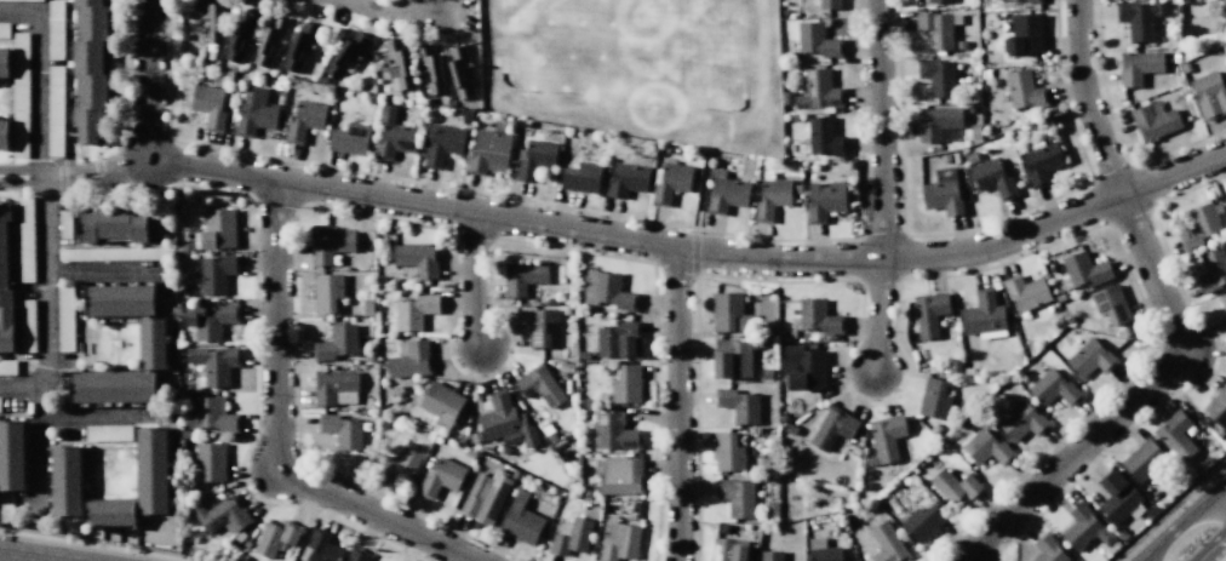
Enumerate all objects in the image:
building: (1004, 0)
building: (936, 1)
building: (1030, 1)
building: (86, 2)
building: (829, 4)
road: (393, 12)
building: (1139, 18)
building: (212, 19)
building: (91, 21)
building: (939, 28)
building: (1024, 34)
building: (240, 36)
building: (269, 40)
building: (817, 40)
building: (299, 46)
building: (86, 55)
building: (345, 55)
building: (5, 61)
building: (399, 62)
building: (1138, 65)
building: (429, 68)
building: (460, 71)
building: (936, 76)
road: (147, 79)
building: (91, 90)
building: (818, 90)
building: (1024, 90)
building: (1209, 95)
building: (208, 107)
building: (254, 113)
building: (304, 120)
building: (1153, 120)
building: (936, 121)
building: (87, 125)
road: (882, 128)
building: (5, 134)
building: (391, 136)
building: (824, 137)
building: (349, 138)
building: (440, 144)
building: (487, 151)
building: (533, 159)
building: (1042, 164)
road: (75, 170)
building: (580, 177)
building: (992, 178)
building: (626, 179)
building: (670, 182)
road: (78, 184)
building: (726, 191)
building: (943, 193)
building: (770, 199)
building: (824, 200)
building: (5, 212)
building: (111, 221)
building: (1202, 224)
building: (155, 225)
building: (85, 227)
building: (137, 227)
building: (217, 228)
building: (328, 242)
road: (44, 247)
road: (693, 248)
building: (2, 256)
building: (417, 258)
building: (1213, 269)
road: (102, 271)
building: (1084, 271)
building: (213, 273)
building: (522, 276)
road: (474, 277)
building: (326, 292)
building: (607, 292)
building: (1026, 292)
building: (5, 297)
building: (119, 299)
building: (1222, 300)
building: (1111, 304)
building: (414, 311)
building: (729, 313)
building: (929, 313)
building: (982, 314)
road: (878, 315)
building: (819, 317)
building: (210, 320)
road: (1174, 324)
building: (542, 326)
building: (6, 328)
building: (619, 339)
building: (153, 343)
building: (336, 343)
building: (732, 357)
building: (1090, 357)
building: (409, 360)
building: (213, 363)
building: (955, 366)
building: (804, 367)
building: (767, 373)
building: (625, 384)
building: (332, 385)
building: (539, 385)
road: (18, 387)
building: (110, 387)
building: (1052, 388)
building: (935, 400)
building: (441, 403)
road: (677, 403)
building: (739, 405)
building: (1216, 407)
road: (93, 416)
building: (211, 416)
building: (505, 419)
building: (1022, 422)
building: (832, 428)
building: (342, 431)
building: (614, 431)
building: (107, 433)
road: (279, 434)
building: (1176, 435)
building: (887, 436)
building: (986, 448)
building: (728, 452)
building: (12, 454)
building: (1141, 460)
building: (211, 462)
building: (401, 462)
building: (153, 471)
building: (619, 476)
building: (441, 477)
building: (67, 479)
building: (953, 485)
building: (486, 496)
building: (735, 497)
building: (1117, 497)
building: (772, 509)
building: (110, 511)
building: (222, 514)
building: (520, 520)
building: (921, 521)
building: (1085, 528)
road: (1195, 531)
building: (275, 537)
building: (572, 537)
building: (618, 540)
building: (887, 544)
building: (319, 546)
building: (728, 549)
building: (1049, 549)
building: (825, 554)
road: (35, 555)
building: (357, 555)
building: (770, 555)
road: (969, 556)
road: (59, 560)

